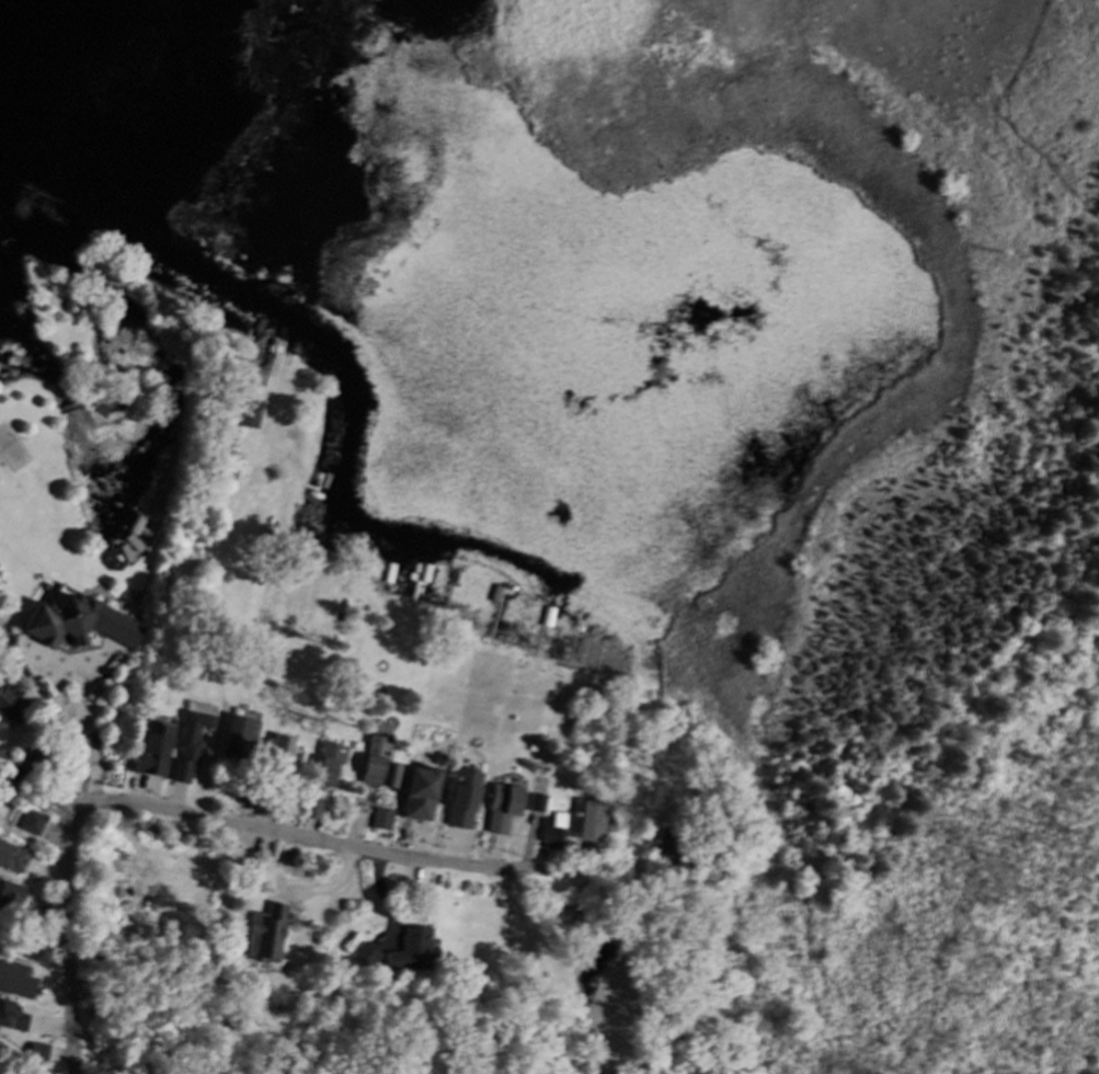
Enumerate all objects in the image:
building: (81, 624)
building: (242, 738)
road: (82, 742)
building: (191, 745)
building: (156, 754)
building: (284, 755)
building: (1, 756)
building: (330, 766)
building: (375, 772)
building: (467, 798)
building: (505, 808)
building: (266, 810)
building: (312, 815)
building: (594, 823)
road: (274, 831)
building: (554, 832)
building: (13, 857)
building: (267, 935)
building: (413, 952)
building: (370, 955)
building: (13, 1018)

